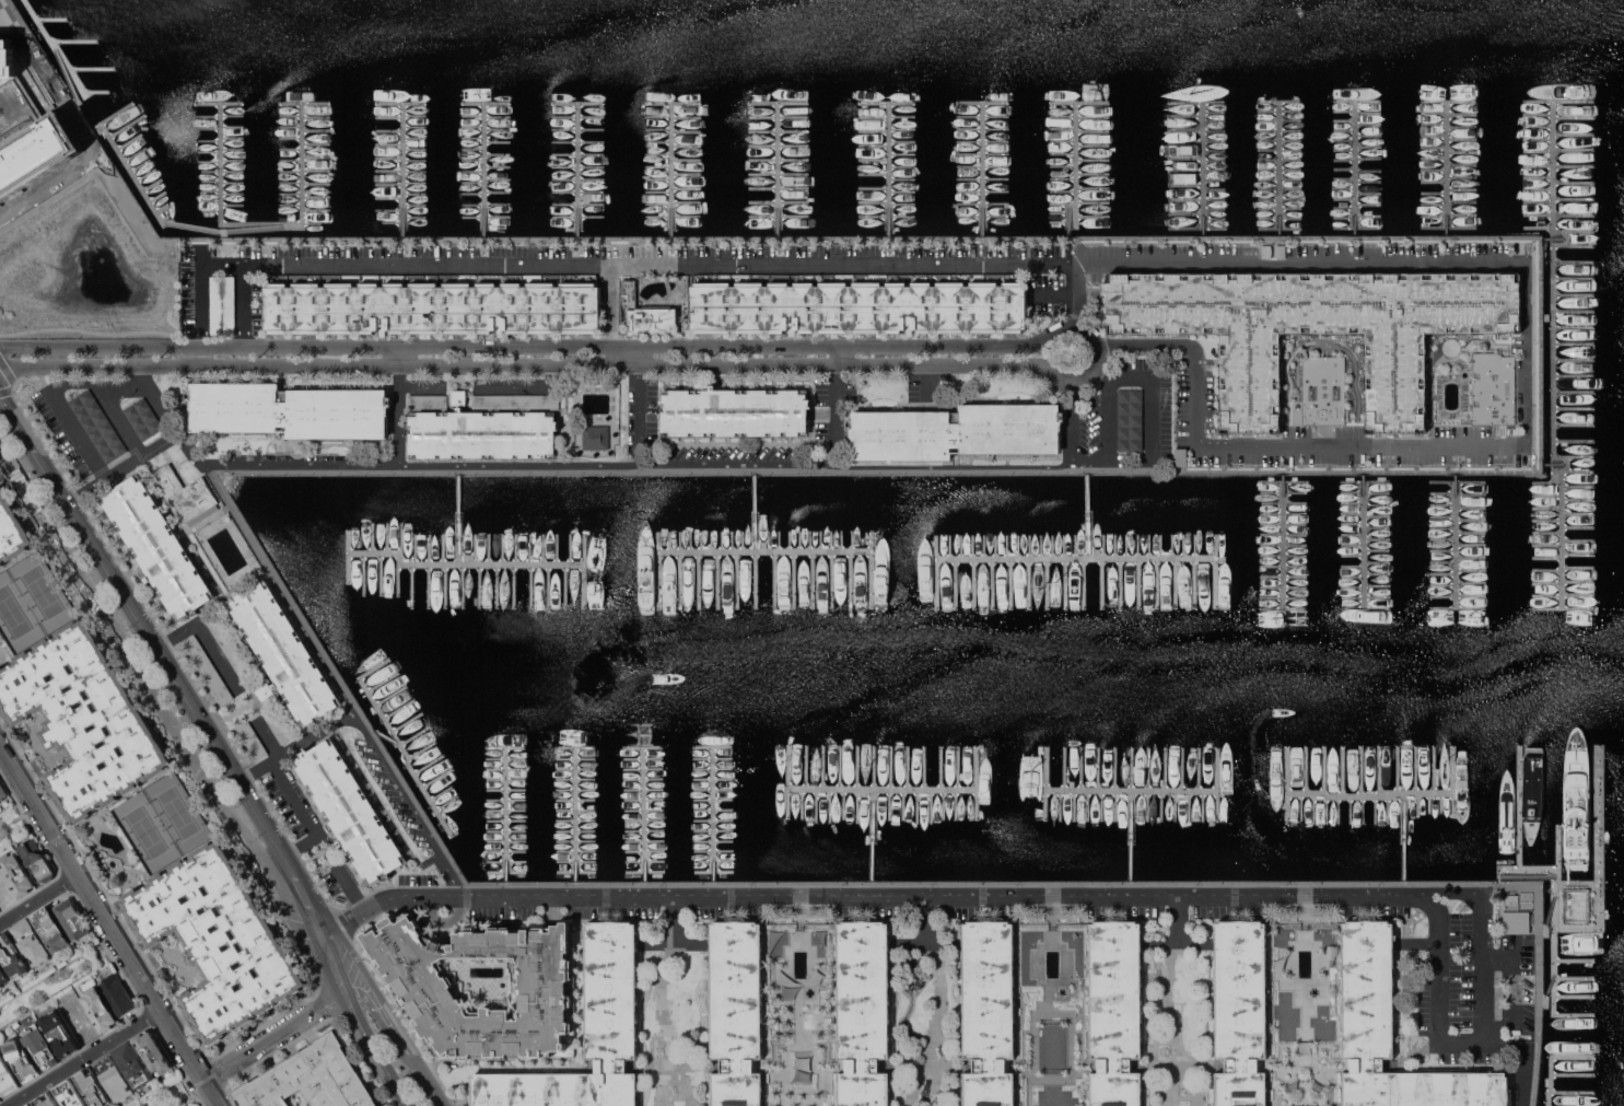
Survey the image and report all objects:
building: (27, 127)
pier: (1446, 167)
pier: (889, 168)
pier: (982, 168)
pier: (1075, 168)
pier: (1356, 168)
pier: (402, 170)
pier: (483, 170)
pier: (579, 170)
pier: (670, 170)
pier: (778, 170)
pier: (1202, 170)
pier: (1280, 170)
pier: (1553, 173)
pier: (150, 199)
pier: (264, 224)
pier: (256, 229)
road: (201, 249)
building: (1275, 249)
building: (1495, 249)
road: (1172, 268)
building: (223, 304)
road: (244, 305)
building: (860, 306)
building: (433, 307)
road: (609, 308)
building: (642, 313)
road: (1075, 313)
building: (1316, 328)
road: (538, 346)
road: (536, 364)
road: (1145, 376)
building: (1493, 387)
building: (1323, 389)
building: (459, 397)
building: (428, 400)
building: (515, 400)
road: (638, 400)
building: (289, 409)
building: (736, 411)
building: (143, 418)
building: (1129, 420)
building: (97, 424)
building: (956, 431)
building: (482, 433)
road: (75, 434)
building: (596, 436)
building: (1180, 455)
building: (1317, 456)
building: (1499, 456)
road: (1079, 457)
road: (299, 464)
road: (673, 464)
road: (1421, 470)
road: (82, 489)
building: (188, 494)
pier: (755, 513)
pier: (1087, 517)
pier: (1562, 527)
building: (11, 531)
pier: (1283, 540)
pier: (1364, 540)
pier: (1456, 540)
building: (157, 546)
pier: (766, 552)
pier: (1076, 560)
pier: (442, 564)
pier: (521, 564)
park: (30, 601)
road: (205, 633)
road: (128, 644)
building: (230, 648)
building: (285, 653)
building: (208, 670)
building: (266, 691)
building: (80, 720)
building: (277, 724)
pier: (387, 738)
building: (252, 740)
road: (267, 740)
road: (295, 747)
road: (221, 754)
pier: (406, 757)
pier: (1130, 789)
pier: (883, 790)
building: (2, 791)
pier: (1370, 792)
road: (410, 803)
pier: (1598, 803)
pier: (1519, 804)
building: (350, 810)
pier: (505, 815)
pier: (575, 815)
pier: (644, 815)
pier: (713, 815)
road: (19, 819)
pier: (873, 835)
pier: (1131, 835)
road: (318, 836)
pier: (1404, 837)
pier: (1557, 843)
road: (303, 845)
building: (36, 860)
building: (16, 873)
road: (1523, 875)
road: (1112, 883)
road: (291, 893)
road: (963, 896)
road: (38, 897)
road: (1547, 911)
road: (1177, 918)
building: (71, 919)
road: (673, 919)
road: (928, 919)
building: (1518, 922)
road: (109, 927)
building: (50, 929)
pier: (1545, 930)
building: (30, 941)
building: (213, 941)
building: (12, 955)
road: (1496, 956)
pier: (1573, 959)
road: (328, 967)
building: (2, 977)
pier: (1573, 977)
building: (424, 985)
park: (50, 986)
road: (1437, 986)
road: (1547, 987)
road: (360, 990)
pier: (1552, 992)
building: (117, 993)
pier: (1573, 994)
pier: (1544, 1000)
road: (329, 1002)
building: (100, 1009)
building: (864, 1011)
building: (989, 1011)
building: (1115, 1011)
building: (737, 1012)
building: (1241, 1012)
pier: (1569, 1020)
road: (404, 1025)
building: (59, 1033)
building: (1393, 1034)
building: (587, 1035)
road: (260, 1045)
building: (39, 1047)
road: (375, 1050)
building: (153, 1052)
road: (1523, 1056)
road: (86, 1057)
building: (20, 1060)
pier: (1550, 1060)
building: (132, 1064)
pier: (1572, 1073)
building: (113, 1078)
building: (7, 1079)
building: (311, 1080)
building: (92, 1087)
pier: (1572, 1091)
building: (69, 1094)
park: (166, 1094)
building: (46, 1099)
building: (28, 1104)
building: (1294, 1105)

